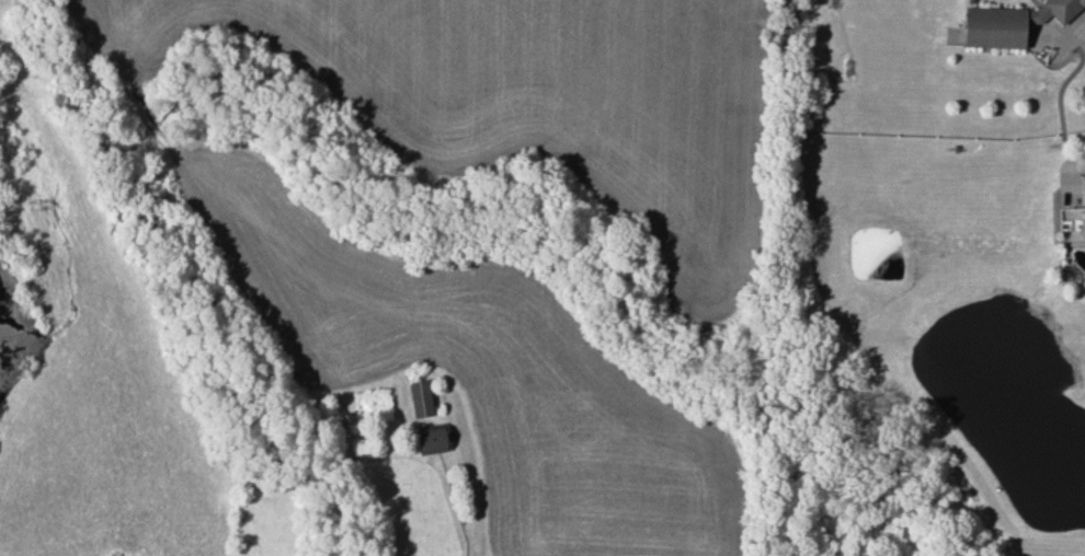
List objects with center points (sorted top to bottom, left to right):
building: (1009, 21)
building: (1082, 217)
crop: (392, 282)
building: (419, 397)
building: (430, 439)

